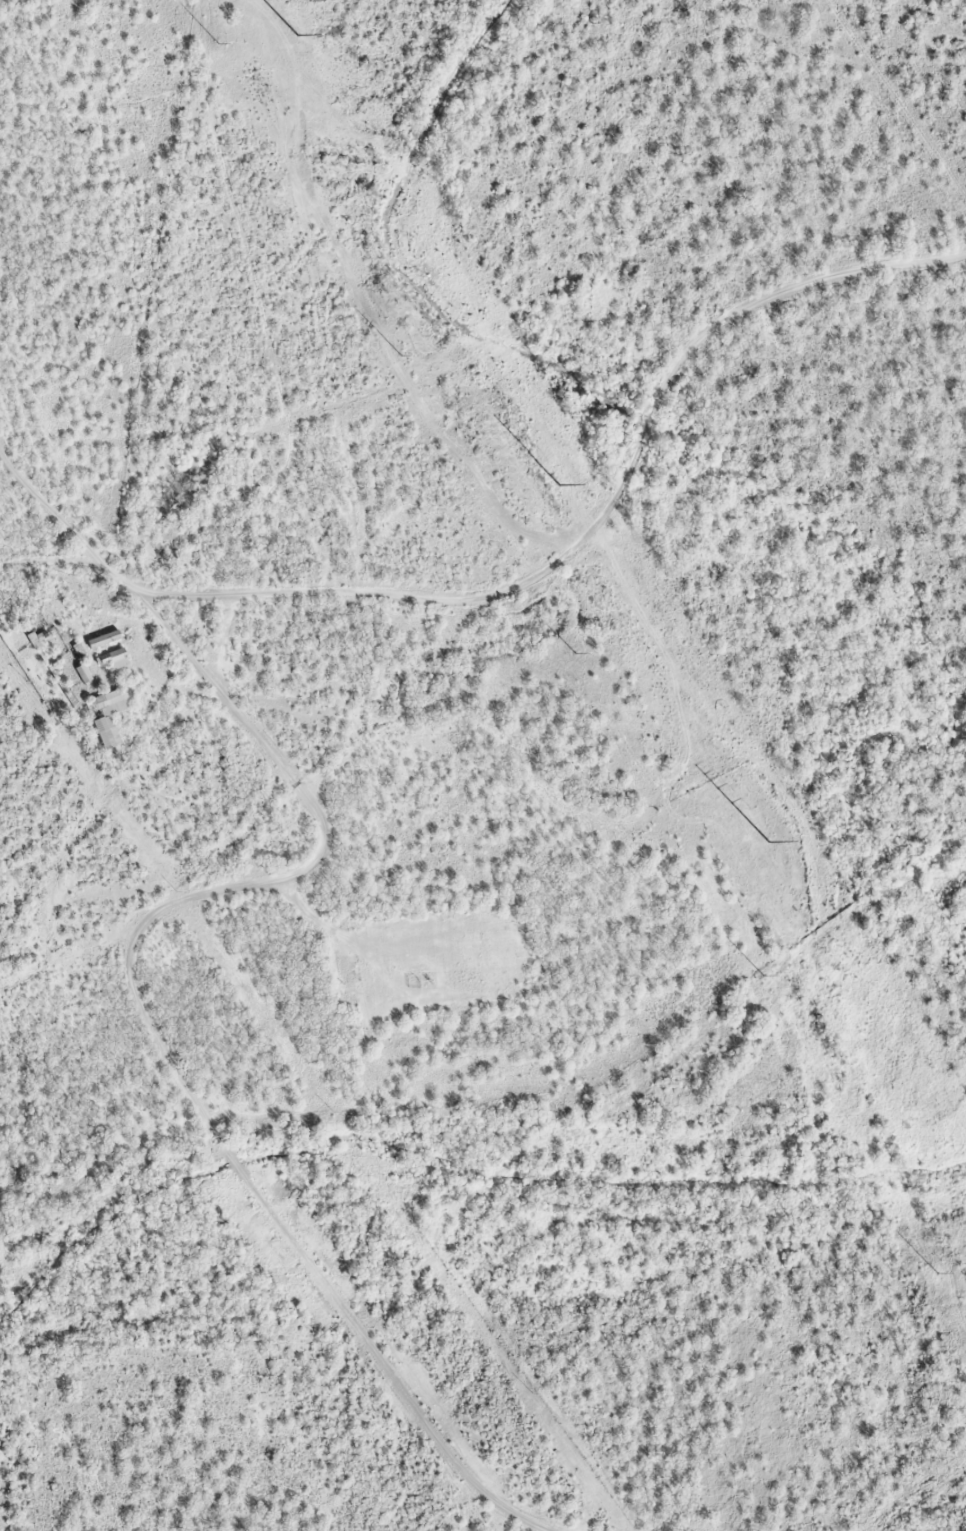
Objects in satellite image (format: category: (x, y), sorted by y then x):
power tower: (290, 34)
power tower: (214, 44)
power tower: (395, 356)
road: (169, 371)
power tower: (552, 484)
road: (604, 521)
building: (107, 636)
power tower: (572, 654)
building: (117, 655)
power tower: (763, 844)
power tower: (760, 976)
power tower: (935, 1274)

